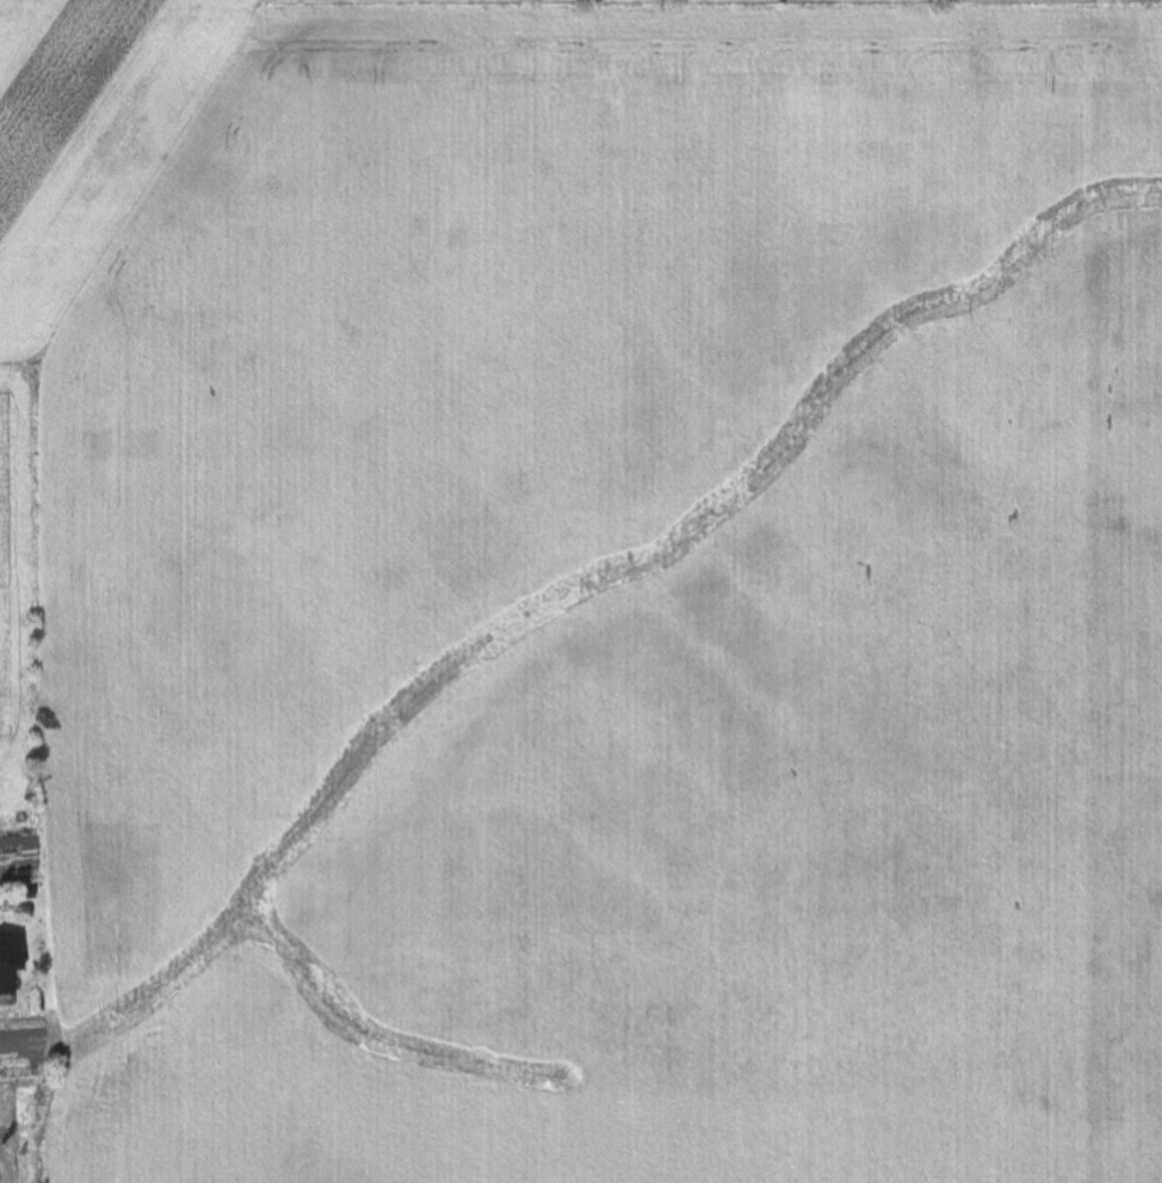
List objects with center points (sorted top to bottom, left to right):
building: (12, 963)

